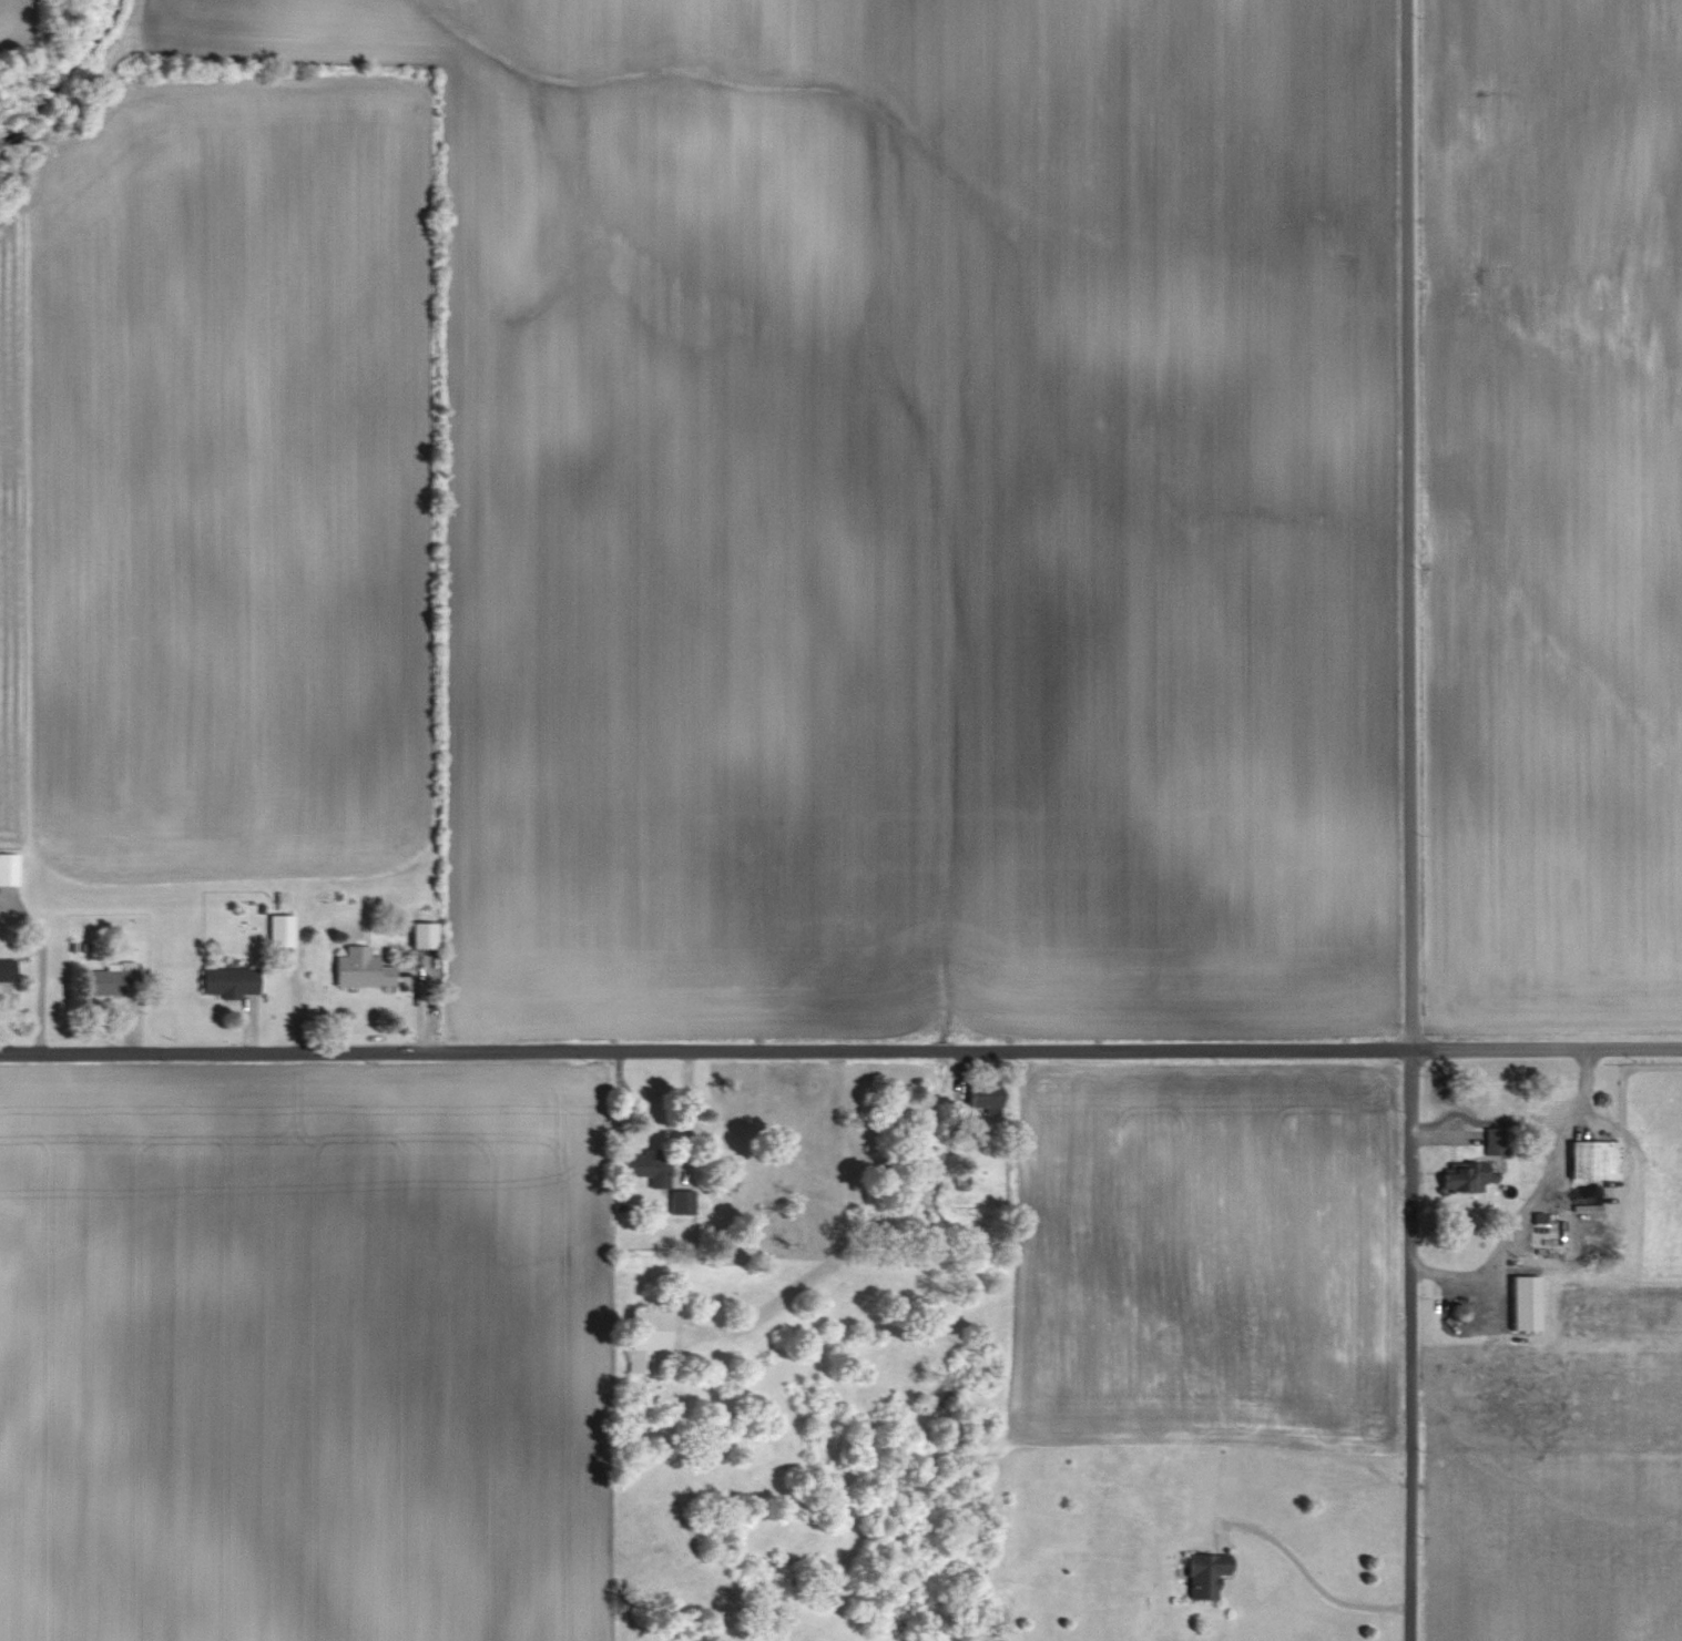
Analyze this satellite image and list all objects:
road: (1410, 820)
building: (8, 869)
building: (281, 930)
building: (422, 936)
building: (361, 970)
building: (231, 982)
building: (113, 983)
road: (840, 1052)
building: (976, 1108)
building: (1495, 1141)
building: (1594, 1160)
building: (649, 1166)
building: (1465, 1176)
building: (960, 1184)
road: (1531, 1197)
building: (682, 1202)
building: (1525, 1304)
building: (1458, 1313)
building: (646, 1339)
road: (1308, 1574)
building: (1206, 1576)

